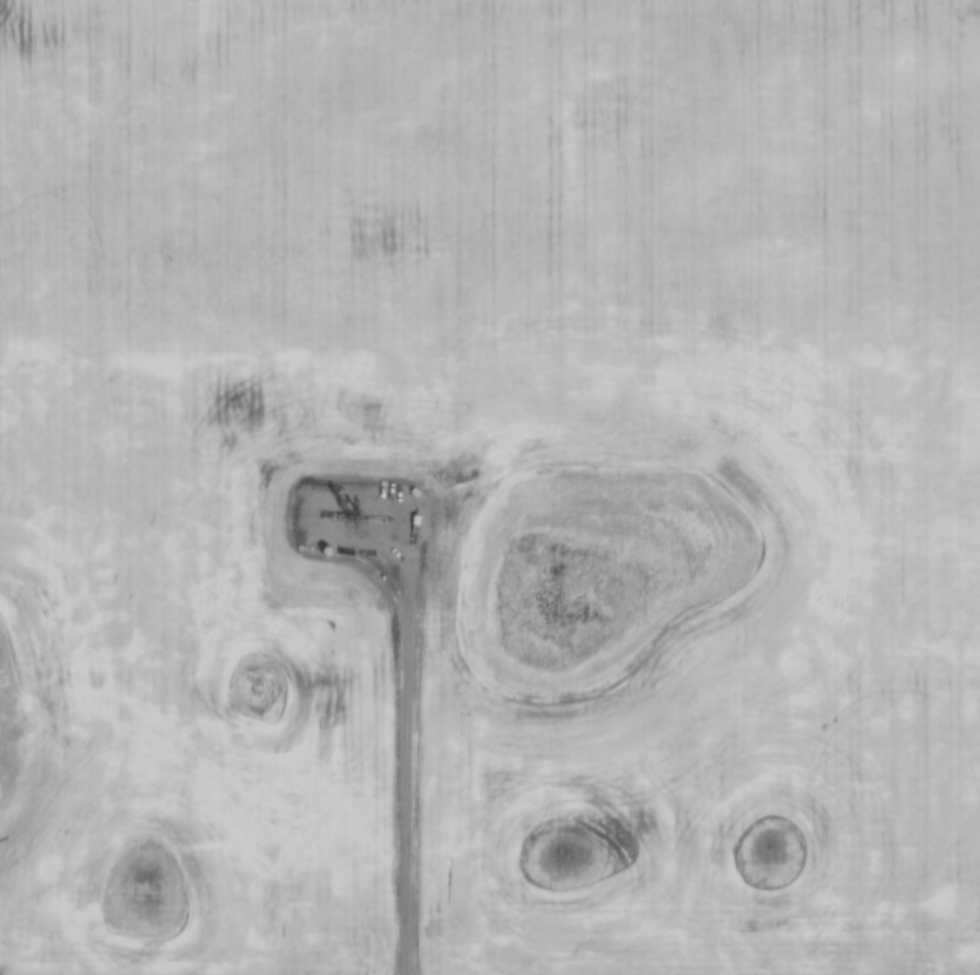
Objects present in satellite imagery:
building: (9, 721)

